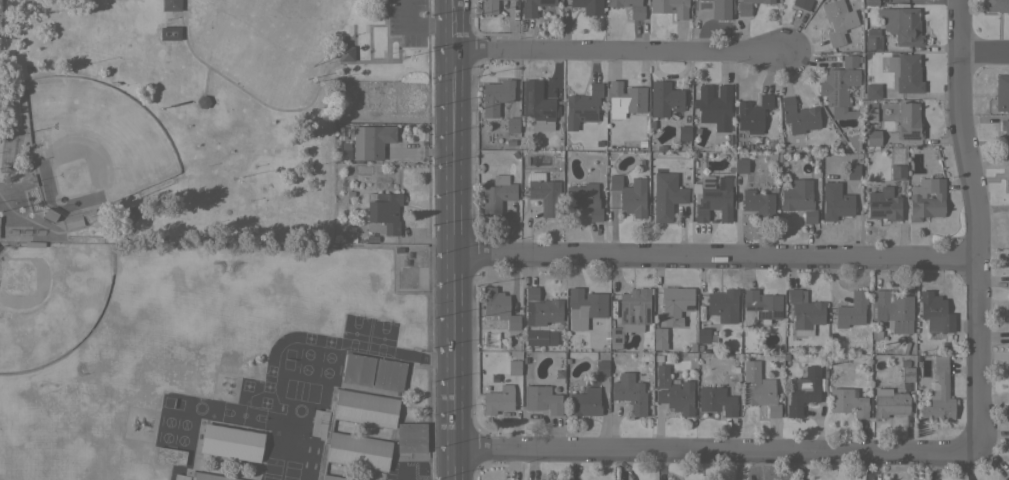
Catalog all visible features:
building: (870, 2)
building: (171, 4)
road: (207, 4)
building: (802, 4)
building: (996, 5)
building: (489, 6)
building: (534, 6)
building: (588, 6)
building: (748, 6)
building: (720, 9)
building: (667, 10)
building: (636, 12)
road: (385, 18)
building: (838, 20)
parking lot: (407, 21)
road: (243, 24)
building: (901, 24)
building: (872, 40)
road: (369, 43)
road: (353, 51)
road: (620, 52)
building: (346, 53)
road: (985, 56)
road: (398, 59)
building: (904, 72)
rooftop solar panel: (833, 79)
building: (839, 81)
road: (242, 91)
building: (351, 91)
building: (871, 91)
building: (1001, 92)
building: (182, 94)
building: (495, 96)
rooftop solar panel: (834, 96)
building: (665, 98)
building: (382, 99)
building: (625, 99)
building: (201, 101)
rooftop solar panel: (530, 102)
building: (537, 102)
building: (582, 106)
building: (714, 106)
park: (184, 113)
rooftop solar panel: (548, 113)
building: (752, 114)
building: (868, 114)
rooftop solar panel: (585, 116)
building: (798, 116)
road: (395, 117)
rooftop solar panel: (903, 120)
building: (908, 121)
building: (512, 124)
building: (683, 132)
rooftop solar panel: (911, 136)
building: (1005, 136)
building: (873, 137)
building: (371, 141)
park: (91, 143)
building: (345, 150)
building: (741, 164)
building: (852, 171)
building: (897, 172)
rooftop solar panel: (723, 183)
building: (544, 193)
building: (349, 194)
building: (496, 195)
building: (629, 195)
building: (371, 196)
building: (712, 197)
building: (798, 198)
building: (926, 198)
building: (32, 199)
building: (584, 199)
building: (667, 200)
building: (835, 201)
building: (758, 203)
rooftop solar panel: (879, 204)
building: (883, 204)
building: (385, 211)
building: (87, 212)
building: (50, 214)
building: (130, 214)
rooftop solar panel: (877, 214)
building: (71, 221)
road: (977, 227)
road: (415, 238)
road: (428, 239)
road: (451, 239)
building: (352, 240)
building: (33, 244)
building: (397, 250)
road: (716, 259)
building: (1008, 279)
building: (675, 303)
building: (722, 305)
building: (762, 305)
building: (498, 307)
building: (542, 307)
building: (584, 307)
rooftop solar panel: (689, 307)
rooftop solar panel: (757, 307)
rooftop solar panel: (748, 308)
building: (851, 310)
building: (892, 310)
building: (804, 313)
building: (630, 314)
rooftop solar panel: (762, 314)
building: (934, 314)
rooftop solar panel: (776, 316)
building: (1008, 334)
building: (703, 335)
building: (539, 337)
building: (659, 339)
building: (513, 367)
building: (601, 368)
building: (358, 369)
building: (907, 370)
building: (389, 375)
rooftop solar panel: (818, 380)
building: (803, 390)
building: (674, 392)
building: (630, 393)
building: (939, 393)
building: (761, 395)
rooftop solar panel: (817, 397)
building: (541, 399)
building: (497, 400)
building: (716, 400)
building: (847, 401)
building: (584, 402)
building: (889, 403)
rooftop solar panel: (799, 408)
building: (325, 433)
building: (411, 437)
building: (231, 442)
road: (710, 450)
building: (170, 456)
road: (411, 473)
building: (202, 476)

